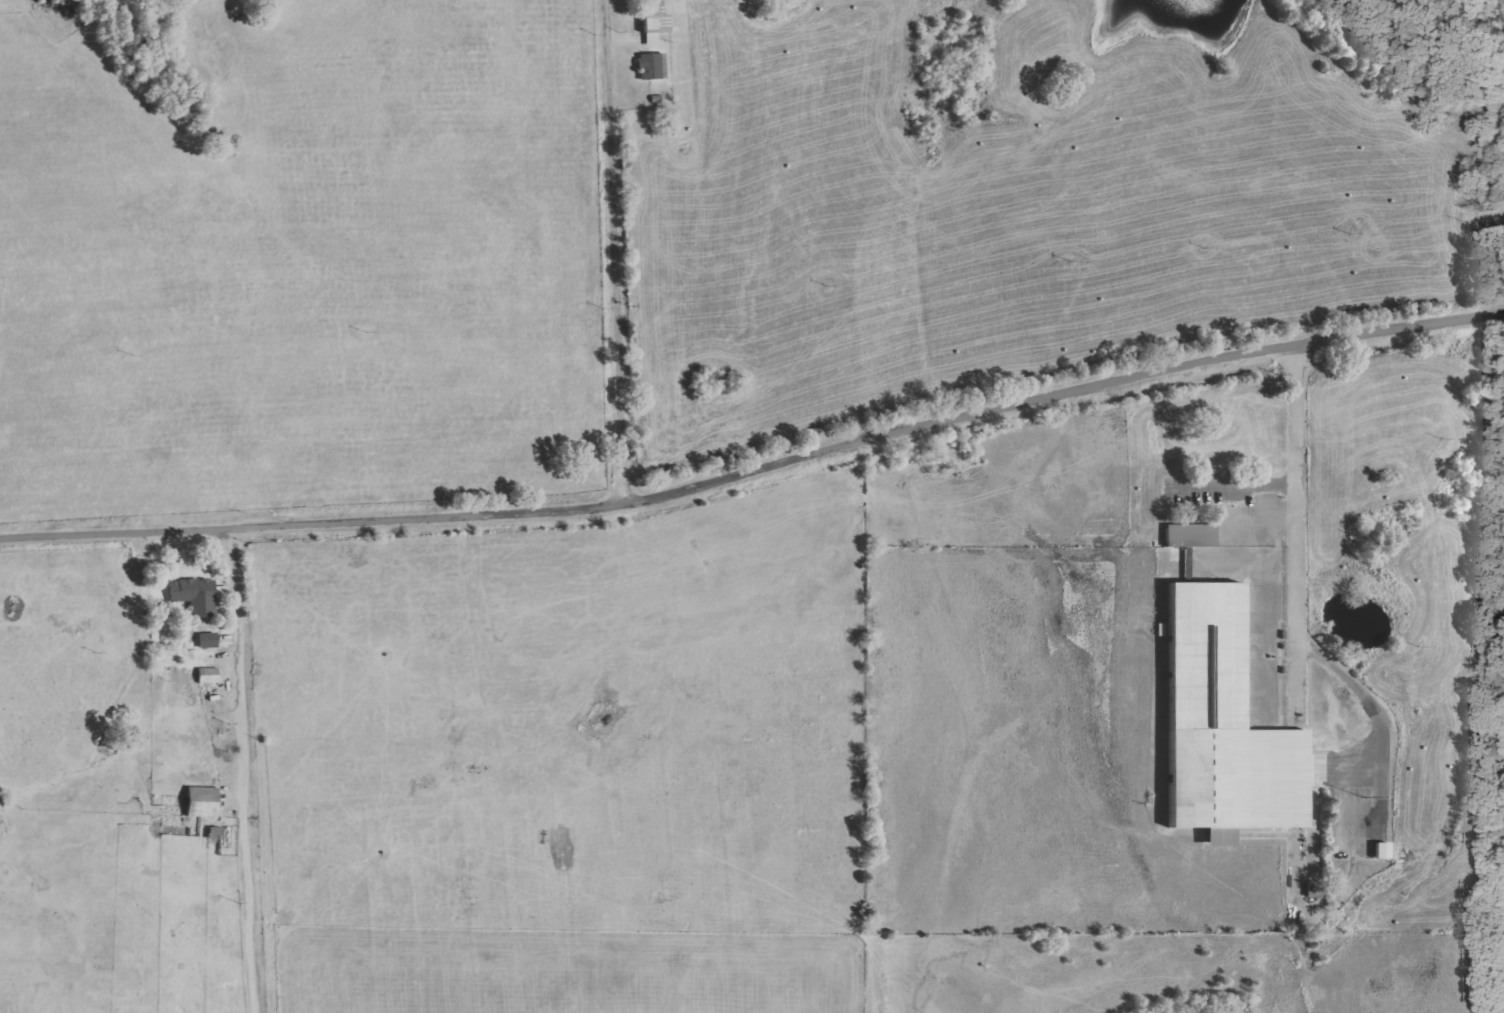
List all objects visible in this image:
building: (654, 22)
building: (652, 66)
power tower: (1346, 234)
power tower: (1202, 247)
road: (615, 251)
power tower: (1066, 262)
power tower: (825, 286)
power tower: (636, 306)
power tower: (356, 332)
power tower: (129, 356)
road: (757, 470)
road: (1296, 525)
building: (1191, 535)
building: (196, 596)
building: (208, 640)
road: (1377, 712)
building: (1223, 726)
road: (241, 772)
building: (203, 802)
building: (219, 837)

